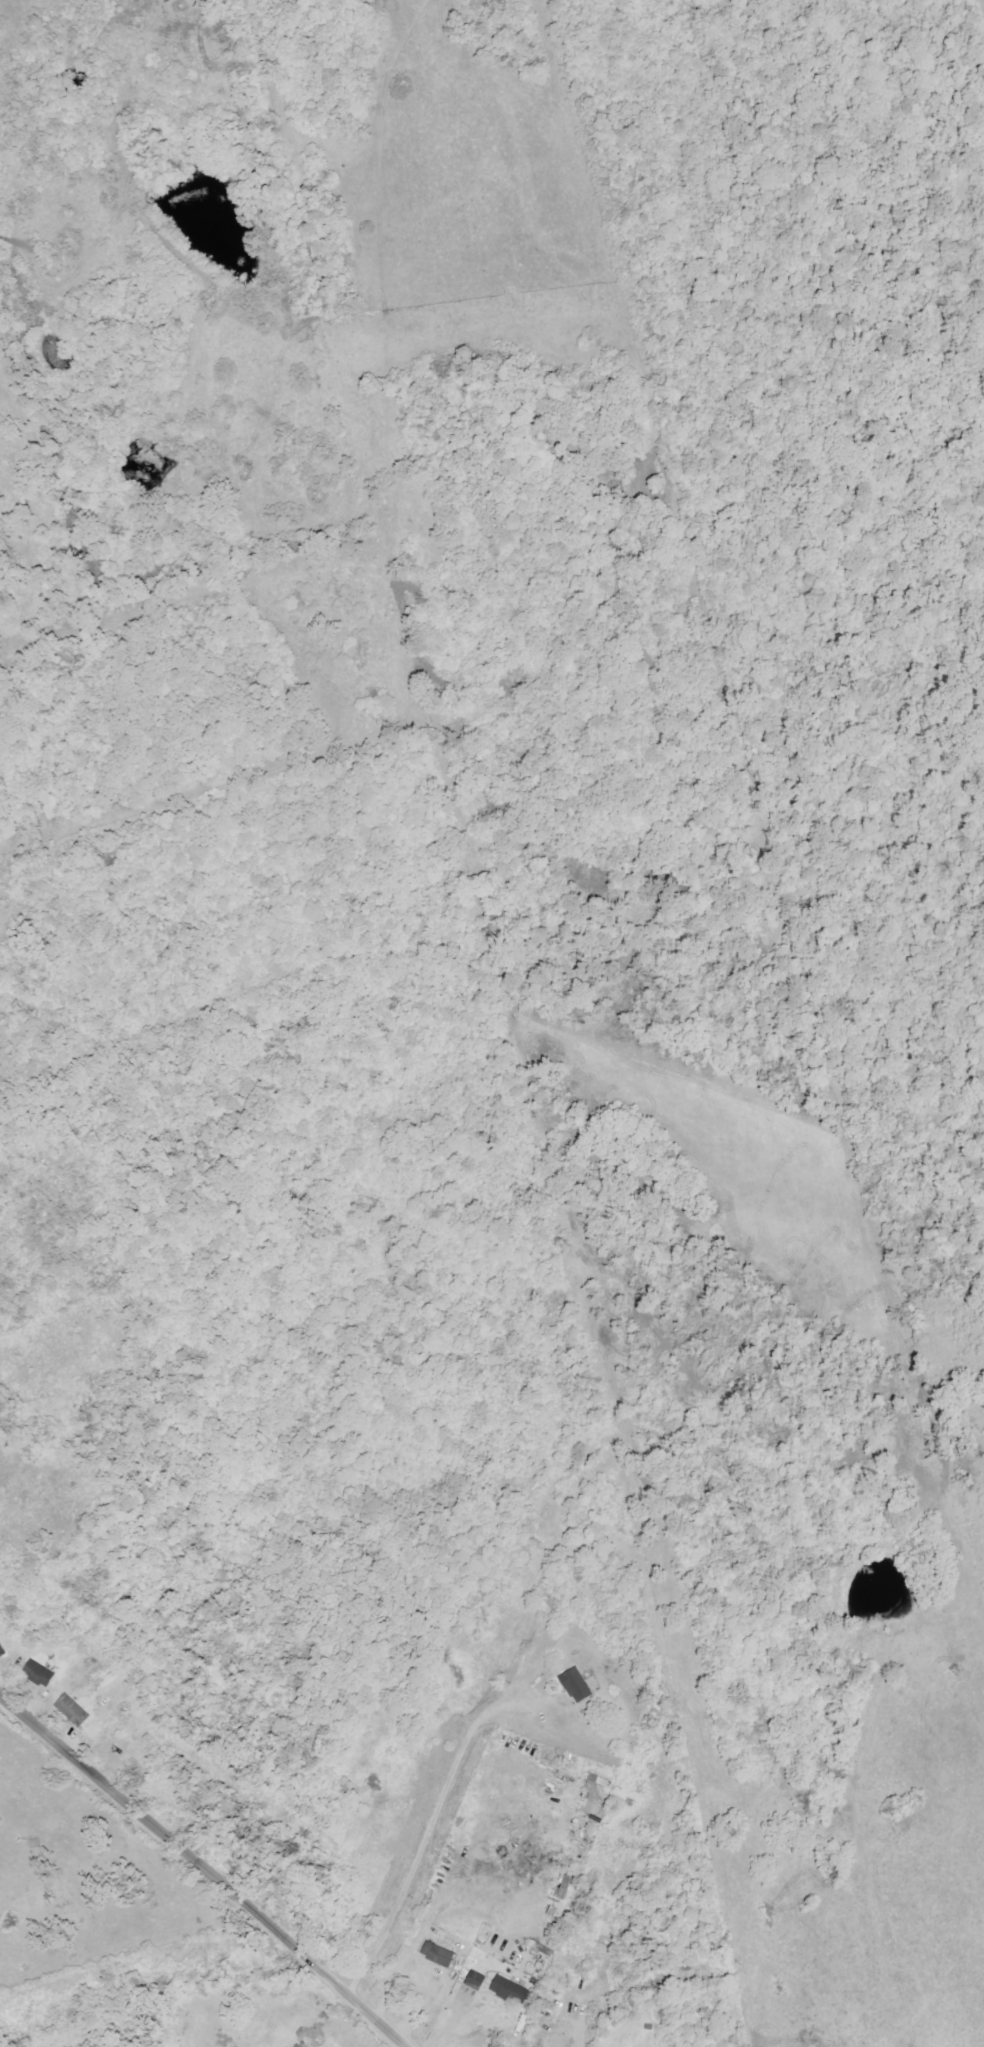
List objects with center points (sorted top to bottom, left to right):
building: (2, 1649)
building: (38, 1673)
building: (579, 1684)
building: (72, 1710)
road: (432, 1838)
road: (203, 1870)
building: (438, 1954)
building: (476, 1980)
building: (510, 1990)
road: (589, 2021)

